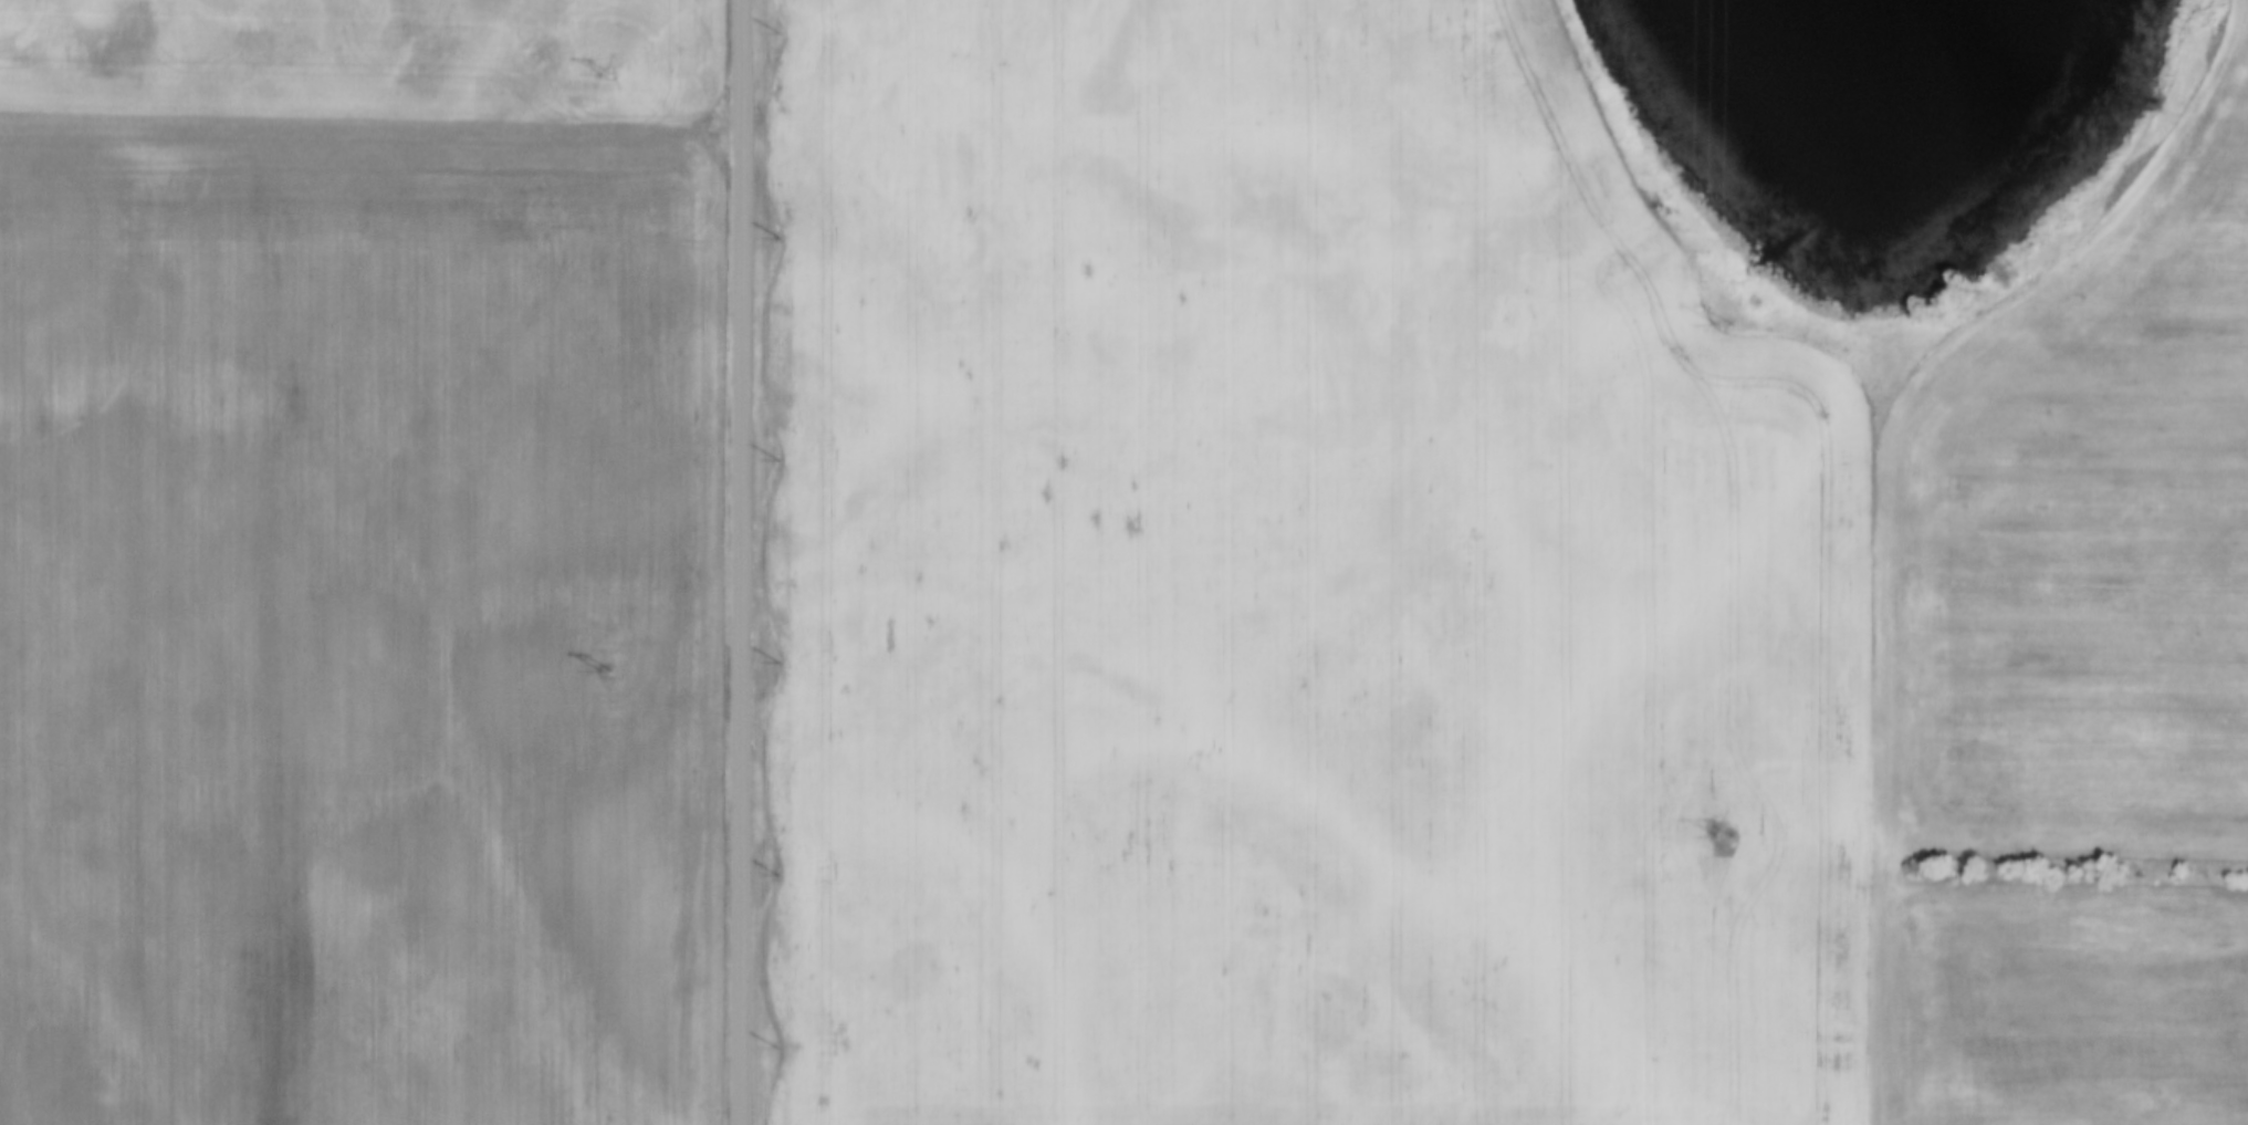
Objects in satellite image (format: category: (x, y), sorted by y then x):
power tower: (1724, 323)
road: (740, 562)
power tower: (1724, 836)

